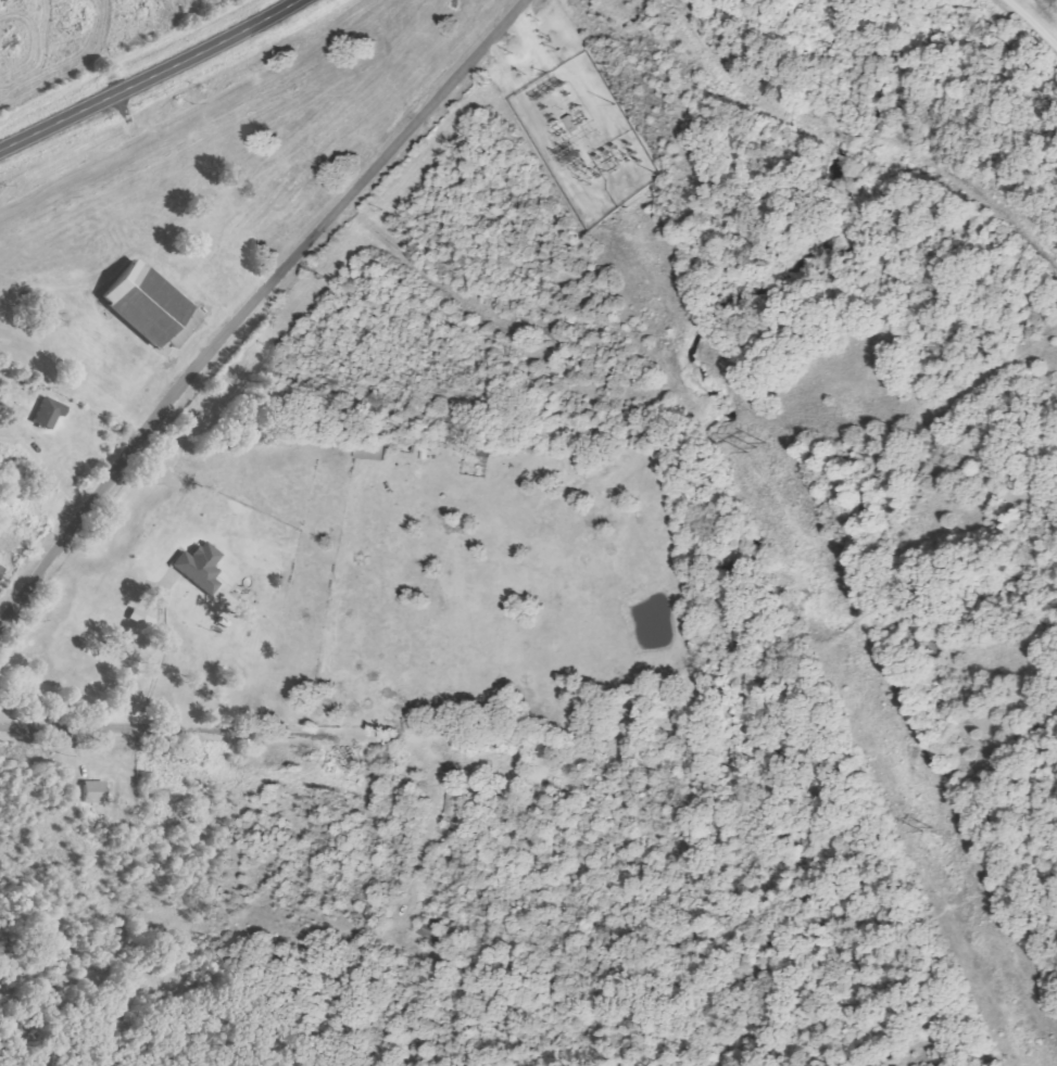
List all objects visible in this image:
road: (1032, 24)
road: (151, 77)
road: (253, 303)
building: (153, 306)
building: (51, 414)
building: (196, 567)
building: (0, 568)
building: (133, 616)
road: (289, 729)
building: (90, 791)
building: (431, 930)

